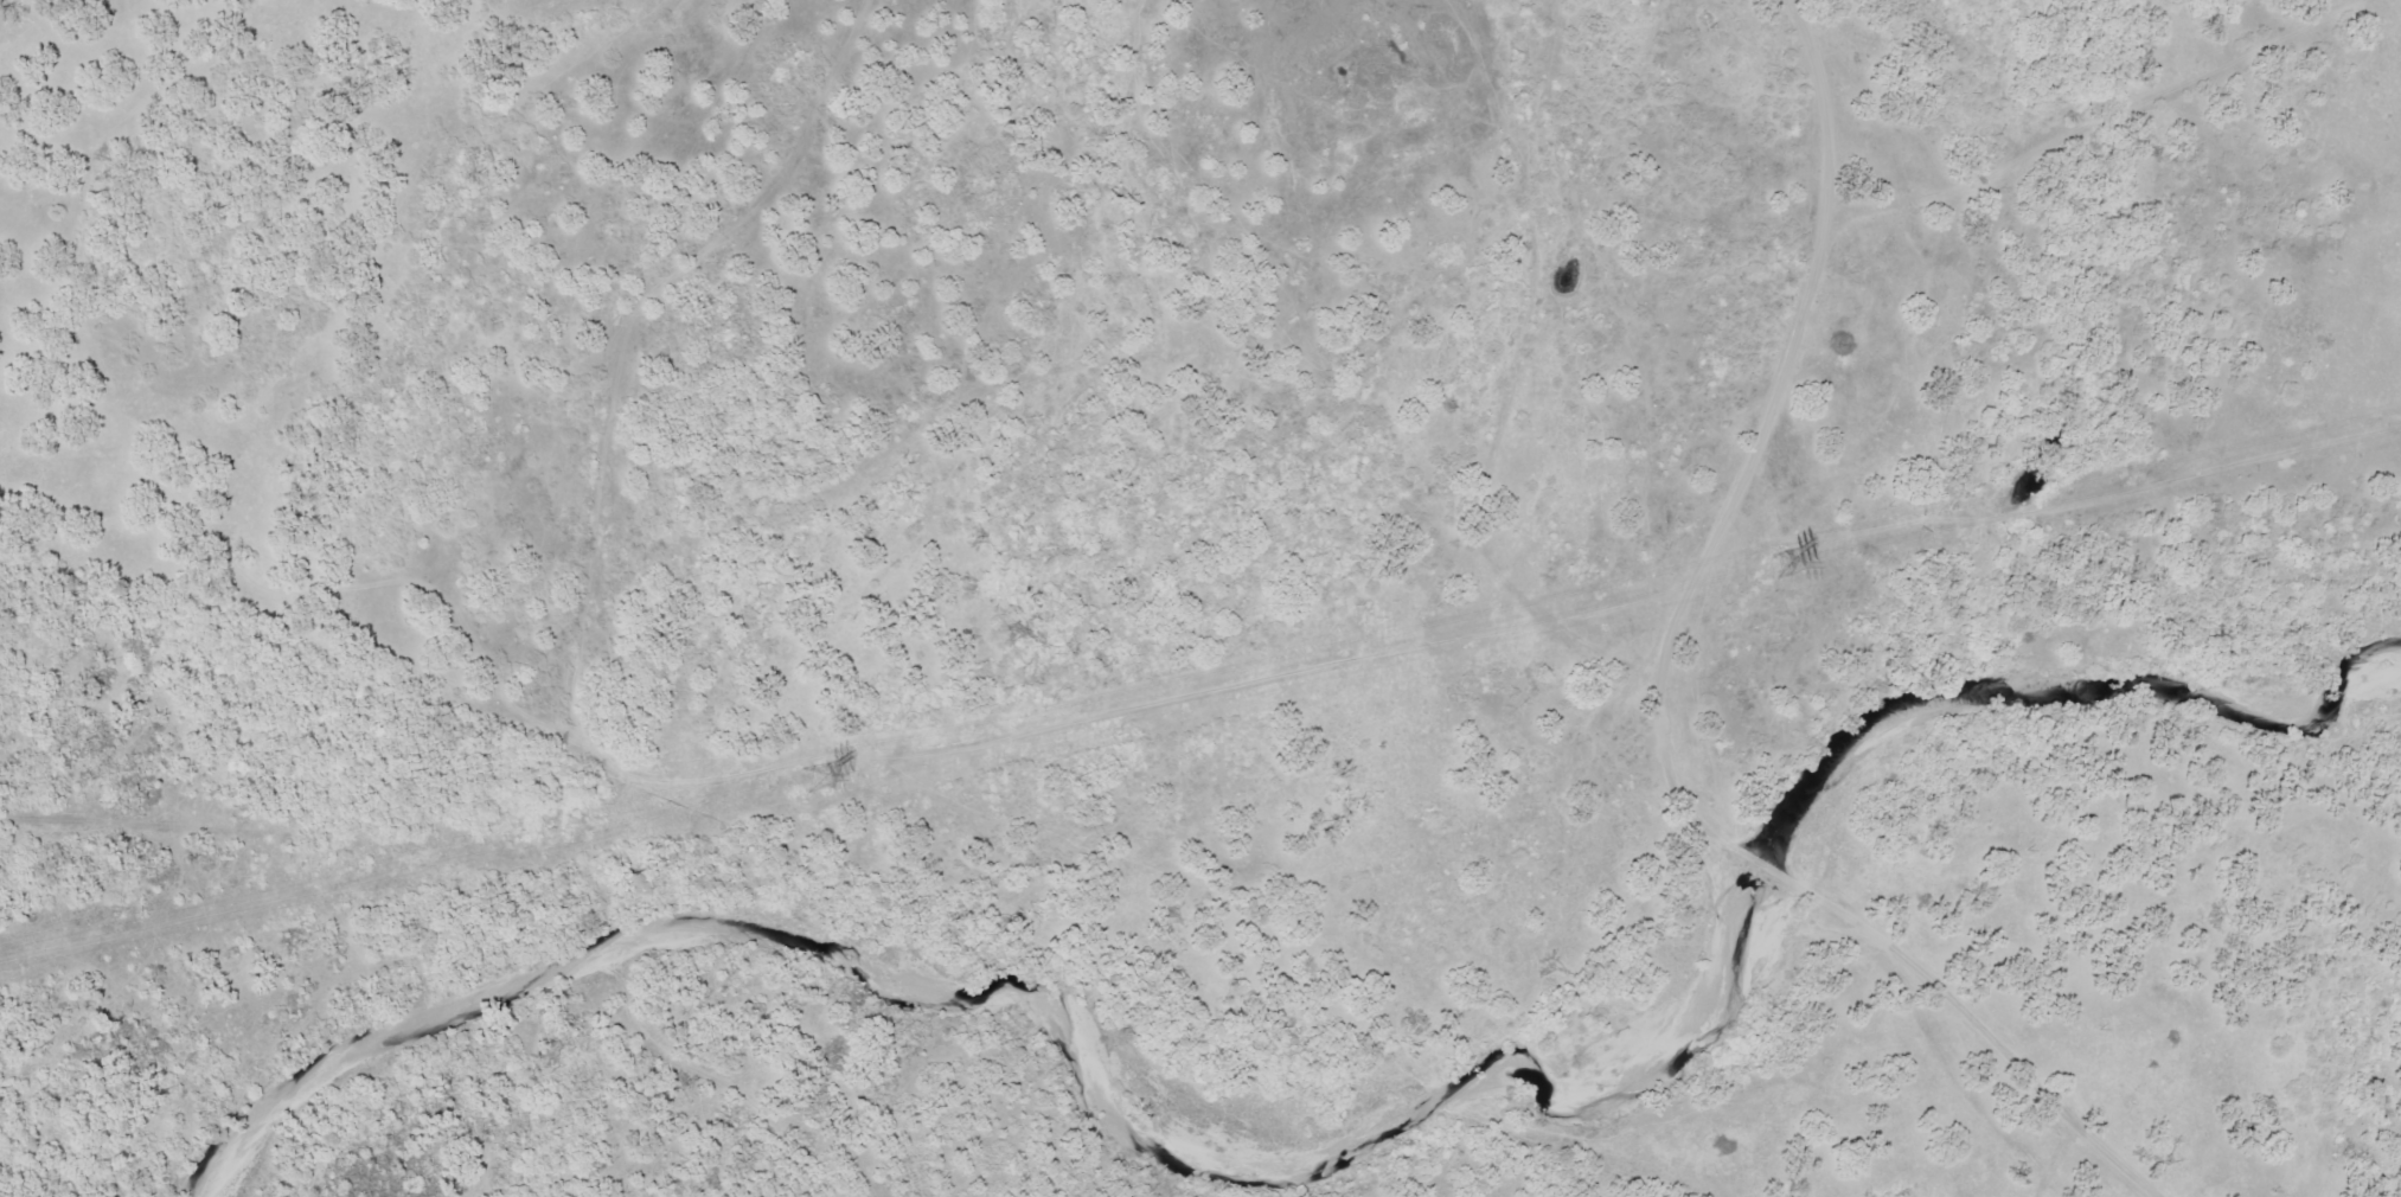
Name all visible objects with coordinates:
power tower: (1778, 569)
road: (1756, 639)
power tower: (818, 776)

